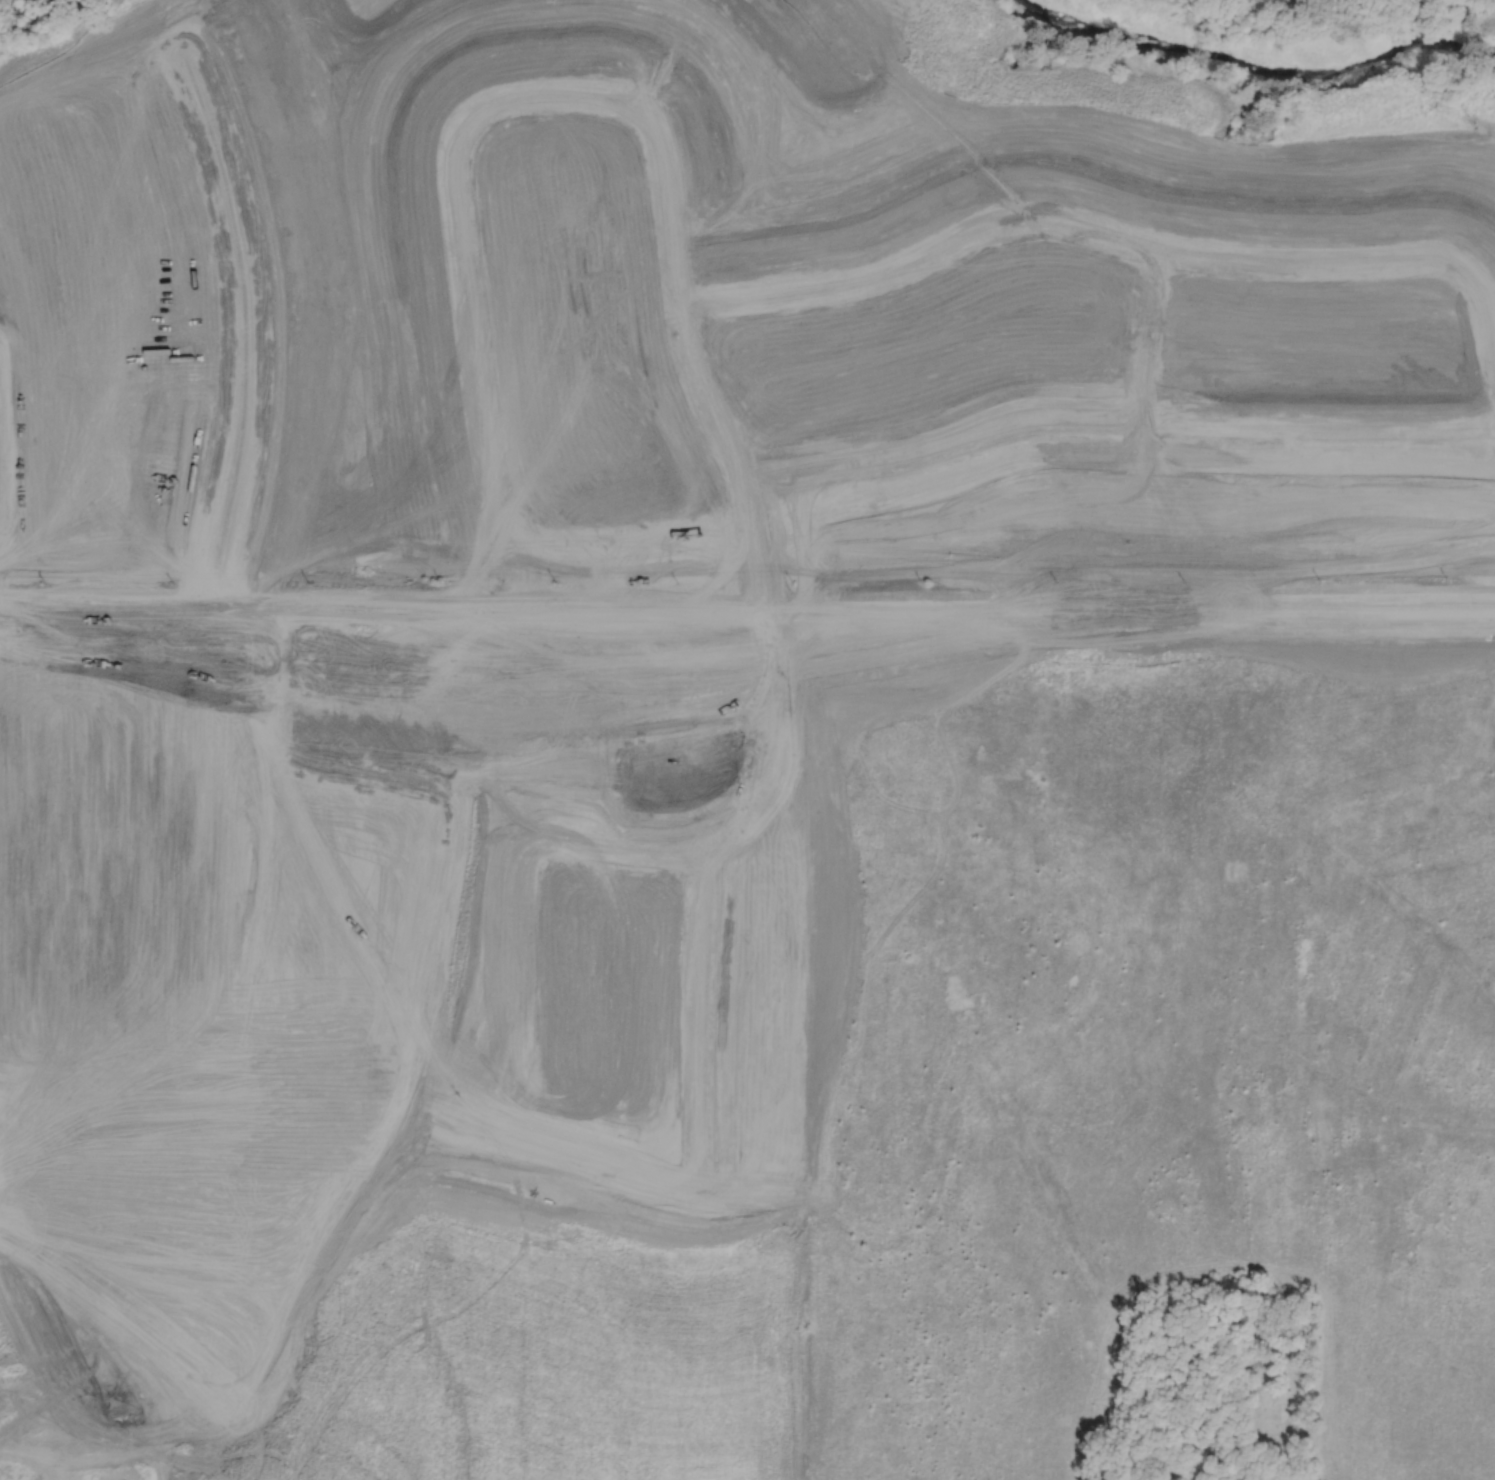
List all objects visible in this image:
building: (146, 1360)
building: (46, 1429)
building: (90, 1432)
building: (121, 1434)
building: (108, 1473)

